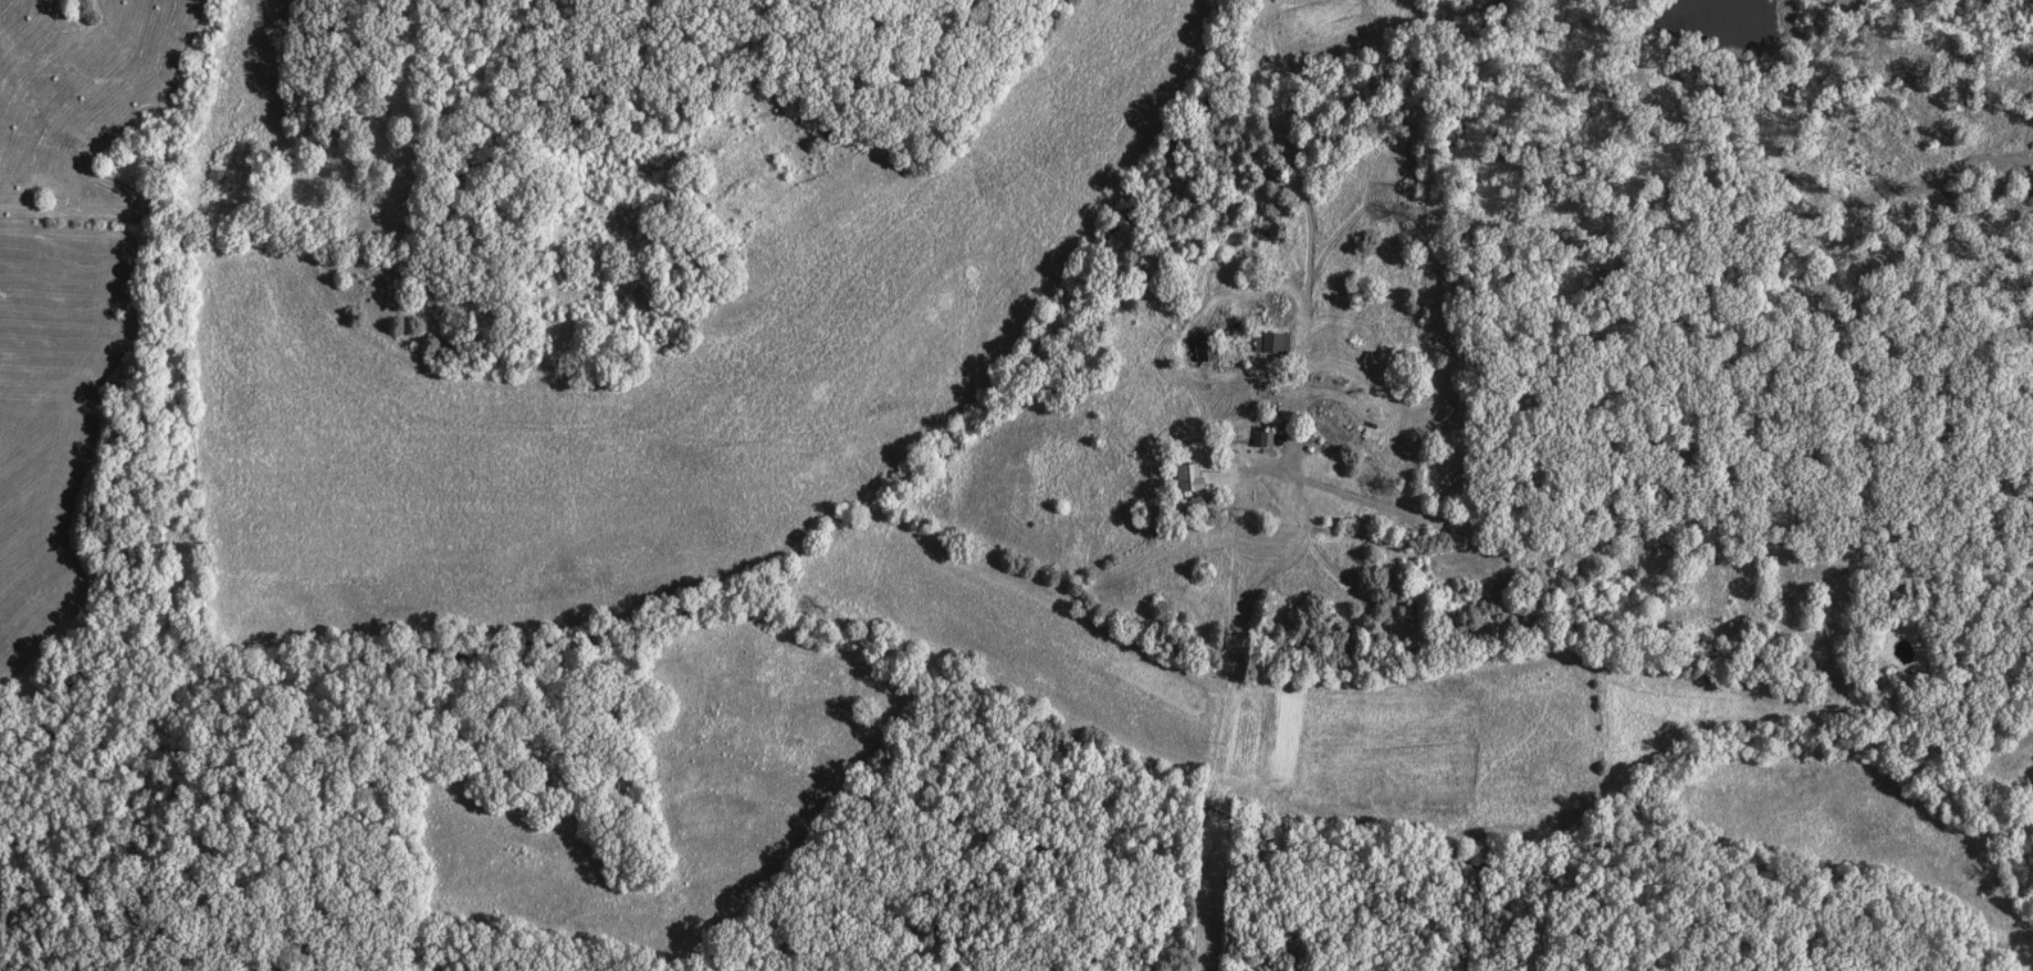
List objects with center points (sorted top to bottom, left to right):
building: (1268, 343)
building: (1204, 351)
crop: (58, 417)
building: (1262, 440)
building: (1185, 478)
road: (1644, 549)

